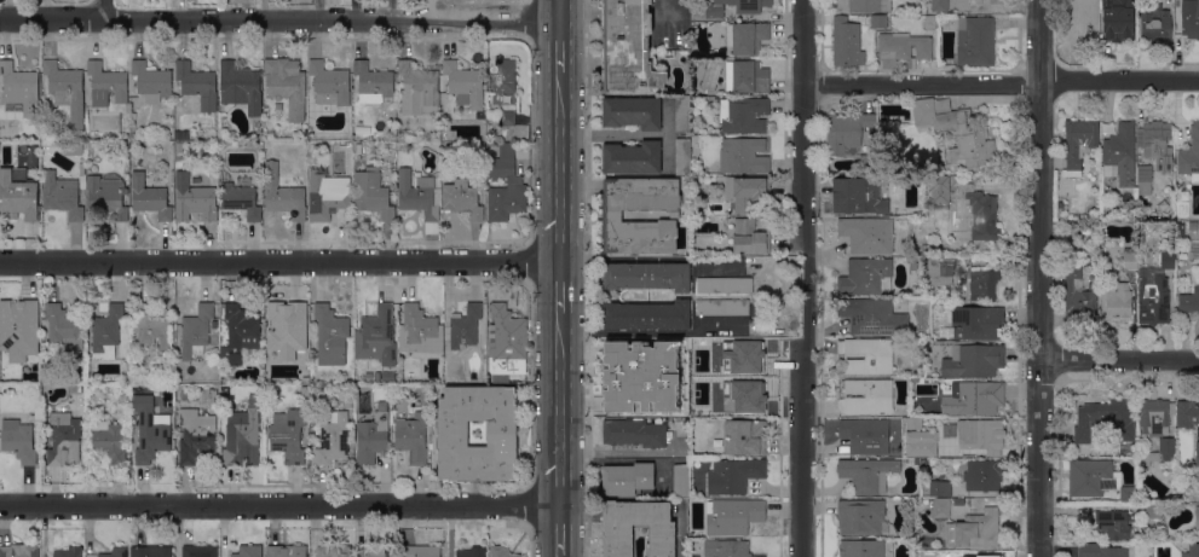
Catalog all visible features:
building: (747, 5)
building: (864, 5)
building: (938, 5)
road: (111, 11)
building: (708, 11)
road: (563, 12)
building: (1083, 18)
building: (1189, 18)
building: (1118, 19)
building: (878, 21)
building: (930, 22)
road: (281, 23)
building: (1154, 23)
building: (747, 36)
road: (48, 40)
road: (93, 40)
road: (270, 40)
road: (5, 41)
road: (138, 41)
road: (225, 41)
road: (315, 41)
road: (359, 41)
road: (405, 41)
road: (449, 41)
building: (975, 41)
building: (847, 42)
building: (903, 46)
building: (628, 47)
road: (561, 48)
building: (716, 53)
road: (328, 56)
road: (461, 57)
road: (149, 58)
road: (369, 58)
road: (103, 59)
building: (503, 75)
building: (747, 77)
building: (151, 79)
road: (1002, 79)
building: (18, 81)
building: (373, 82)
building: (105, 83)
building: (286, 83)
building: (329, 83)
building: (465, 83)
building: (196, 86)
building: (241, 86)
building: (417, 88)
building: (64, 89)
building: (178, 104)
building: (632, 111)
building: (682, 114)
building: (743, 114)
building: (507, 117)
building: (846, 130)
building: (956, 130)
building: (521, 133)
road: (616, 134)
building: (178, 137)
building: (236, 140)
building: (336, 143)
building: (1155, 143)
building: (36, 144)
building: (1078, 144)
building: (90, 145)
building: (179, 146)
building: (71, 149)
building: (358, 149)
building: (1122, 151)
building: (742, 155)
building: (682, 156)
building: (1189, 156)
building: (632, 157)
building: (867, 162)
building: (1094, 163)
building: (81, 167)
road: (563, 167)
building: (1013, 172)
building: (1145, 179)
building: (514, 182)
building: (939, 184)
building: (745, 191)
building: (283, 193)
building: (371, 193)
building: (106, 195)
building: (325, 195)
building: (858, 195)
building: (19, 196)
building: (60, 196)
building: (240, 197)
building: (148, 198)
building: (417, 198)
building: (462, 198)
building: (192, 201)
building: (1059, 203)
building: (1163, 205)
building: (611, 214)
building: (979, 216)
building: (1076, 224)
building: (1193, 225)
building: (866, 234)
building: (749, 237)
building: (1130, 257)
road: (281, 262)
building: (912, 263)
building: (944, 268)
building: (646, 275)
building: (866, 275)
road: (805, 278)
road: (1043, 278)
road: (408, 283)
building: (725, 284)
building: (984, 284)
road: (563, 289)
building: (1154, 291)
building: (1078, 294)
building: (1191, 296)
building: (1117, 301)
building: (722, 307)
building: (646, 315)
building: (872, 315)
building: (976, 323)
building: (213, 324)
building: (151, 325)
building: (63, 326)
building: (419, 326)
building: (465, 326)
building: (18, 329)
building: (286, 329)
building: (106, 331)
building: (196, 331)
building: (330, 331)
building: (238, 333)
building: (376, 336)
building: (507, 344)
building: (657, 349)
building: (166, 355)
building: (866, 355)
building: (703, 360)
building: (973, 360)
road: (1122, 364)
building: (387, 376)
building: (622, 379)
building: (305, 390)
building: (682, 393)
building: (744, 394)
building: (866, 396)
building: (973, 398)
building: (211, 399)
building: (792, 407)
road: (563, 411)
building: (1187, 413)
building: (316, 416)
building: (1154, 416)
building: (1105, 419)
building: (688, 428)
building: (149, 431)
building: (240, 433)
building: (634, 433)
building: (288, 434)
building: (981, 434)
building: (195, 435)
building: (865, 435)
building: (502, 436)
building: (745, 436)
building: (371, 437)
building: (63, 439)
building: (19, 440)
building: (108, 440)
building: (332, 440)
building: (411, 440)
building: (921, 447)
building: (1158, 452)
building: (1079, 453)
building: (1197, 453)
building: (917, 460)
building: (924, 466)
building: (866, 474)
building: (981, 474)
building: (734, 475)
building: (627, 478)
building: (681, 480)
building: (1096, 481)
building: (940, 488)
building: (965, 501)
road: (282, 505)
building: (939, 506)
building: (1153, 511)
building: (733, 515)
building: (1197, 516)
building: (860, 517)
building: (1113, 523)
building: (974, 529)
road: (564, 530)
building: (617, 543)
building: (726, 549)
building: (860, 549)
building: (287, 550)
building: (1100, 550)
building: (1192, 550)
building: (18, 551)
building: (150, 551)
building: (198, 551)
building: (247, 551)
building: (332, 551)
building: (380, 551)
building: (421, 551)
building: (471, 551)
building: (501, 551)
building: (69, 552)
building: (115, 552)
building: (938, 553)
building: (88, 555)
road: (563, 556)

